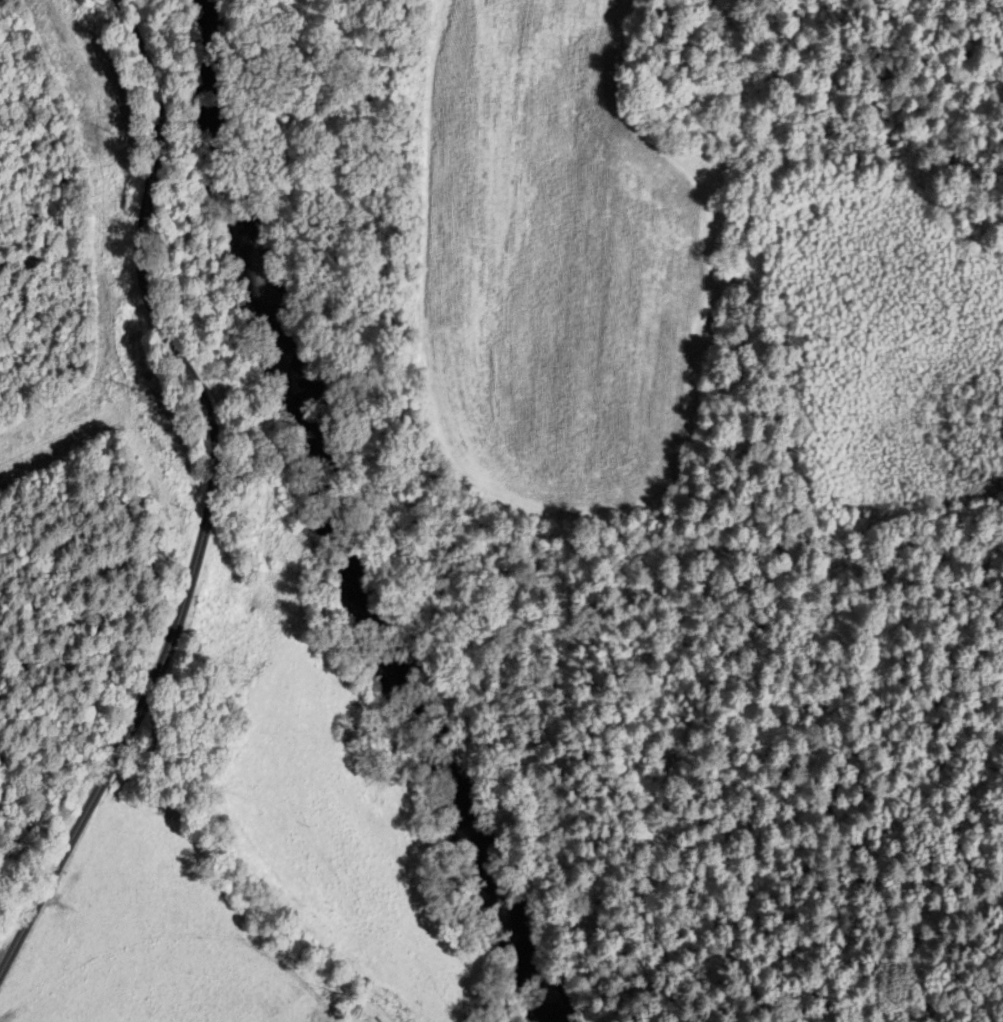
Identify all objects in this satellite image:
road: (212, 496)
river: (330, 527)
road: (2, 962)

